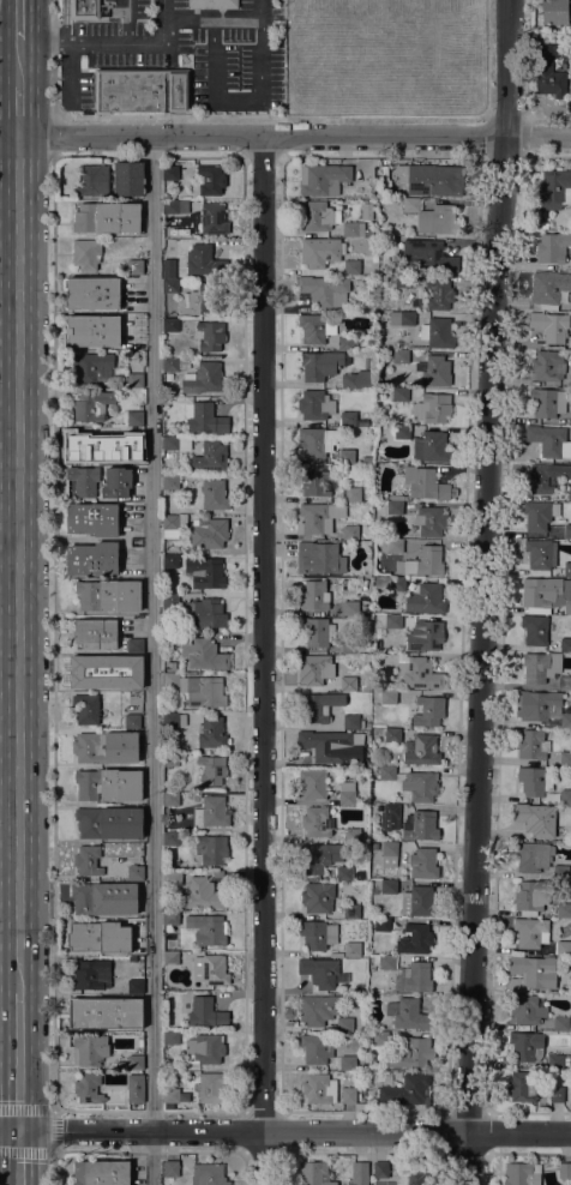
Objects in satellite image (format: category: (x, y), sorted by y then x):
building: (212, 4)
building: (83, 10)
building: (570, 10)
building: (554, 11)
road: (18, 20)
road: (65, 20)
road: (127, 22)
road: (110, 42)
road: (17, 64)
building: (548, 71)
building: (140, 88)
road: (264, 89)
road: (17, 110)
road: (121, 115)
road: (451, 115)
road: (53, 134)
road: (294, 136)
building: (381, 163)
building: (176, 173)
building: (128, 179)
building: (323, 179)
building: (431, 179)
building: (91, 180)
building: (210, 180)
building: (554, 190)
building: (175, 207)
building: (317, 216)
building: (107, 217)
building: (431, 217)
building: (212, 218)
building: (543, 225)
building: (353, 229)
building: (368, 233)
building: (552, 247)
building: (320, 251)
building: (85, 253)
building: (427, 254)
building: (204, 261)
building: (134, 266)
building: (351, 267)
building: (168, 271)
building: (402, 279)
building: (169, 285)
building: (324, 290)
building: (547, 290)
building: (92, 293)
building: (439, 294)
building: (200, 301)
building: (402, 319)
building: (170, 325)
building: (549, 325)
building: (315, 327)
building: (92, 331)
building: (437, 332)
building: (210, 336)
building: (345, 342)
building: (133, 354)
building: (401, 356)
building: (174, 365)
building: (320, 365)
building: (547, 366)
building: (96, 368)
building: (434, 371)
building: (168, 377)
building: (205, 379)
building: (357, 379)
building: (134, 380)
building: (399, 395)
building: (547, 402)
building: (314, 404)
building: (92, 405)
road: (8, 407)
building: (432, 408)
building: (134, 416)
building: (204, 417)
building: (348, 417)
building: (570, 417)
building: (402, 432)
building: (546, 439)
building: (315, 441)
building: (94, 443)
building: (170, 443)
building: (185, 444)
building: (431, 446)
building: (134, 456)
building: (210, 457)
building: (345, 457)
building: (545, 476)
building: (83, 480)
building: (317, 481)
building: (116, 482)
building: (170, 482)
building: (422, 485)
building: (351, 493)
building: (569, 493)
building: (214, 495)
building: (393, 507)
building: (539, 515)
building: (317, 518)
building: (92, 519)
building: (429, 521)
building: (173, 525)
building: (567, 531)
building: (208, 533)
building: (350, 533)
building: (395, 546)
road: (8, 551)
building: (539, 554)
building: (319, 558)
building: (92, 559)
building: (170, 561)
building: (422, 563)
road: (17, 565)
building: (567, 569)
road: (8, 571)
building: (204, 572)
building: (390, 583)
road: (482, 591)
building: (546, 592)
building: (109, 595)
building: (314, 595)
building: (425, 598)
building: (170, 601)
building: (350, 608)
building: (204, 614)
building: (392, 621)
building: (534, 630)
road: (54, 632)
road: (151, 632)
building: (317, 632)
building: (95, 633)
building: (425, 636)
building: (377, 643)
building: (134, 645)
building: (349, 645)
building: (565, 645)
building: (200, 651)
road: (263, 660)
building: (170, 666)
building: (540, 667)
building: (312, 669)
building: (95, 670)
building: (417, 673)
building: (564, 682)
building: (134, 684)
building: (348, 684)
building: (198, 690)
building: (387, 697)
building: (318, 706)
building: (542, 708)
building: (86, 709)
building: (428, 711)
building: (174, 720)
building: (132, 721)
building: (351, 722)
building: (211, 733)
building: (392, 735)
building: (531, 745)
building: (326, 746)
building: (92, 748)
building: (421, 751)
building: (134, 758)
building: (170, 759)
building: (565, 759)
building: (211, 770)
building: (386, 772)
building: (534, 781)
building: (108, 784)
building: (312, 784)
building: (421, 786)
road: (8, 788)
building: (345, 794)
building: (565, 796)
building: (170, 799)
building: (391, 811)
building: (211, 812)
building: (536, 820)
building: (108, 822)
building: (315, 822)
building: (420, 825)
building: (351, 835)
building: (170, 838)
building: (374, 846)
building: (214, 849)
building: (389, 854)
building: (318, 856)
building: (533, 856)
building: (88, 860)
building: (422, 864)
road: (8, 871)
building: (134, 872)
building: (560, 872)
building: (343, 873)
building: (172, 878)
building: (389, 886)
building: (203, 894)
building: (533, 896)
building: (317, 897)
building: (104, 898)
building: (419, 902)
building: (564, 909)
building: (353, 912)
building: (170, 919)
building: (381, 925)
building: (206, 930)
building: (530, 932)
building: (317, 934)
building: (100, 937)
building: (414, 939)
building: (563, 948)
building: (355, 949)
building: (170, 957)
building: (386, 962)
building: (210, 969)
building: (530, 972)
building: (320, 973)
building: (91, 976)
building: (413, 978)
building: (134, 986)
building: (317, 1010)
building: (527, 1010)
building: (104, 1013)
building: (205, 1013)
building: (408, 1015)
building: (344, 1024)
building: (560, 1024)
building: (170, 1037)
building: (525, 1046)
building: (205, 1048)
building: (315, 1048)
building: (89, 1049)
building: (404, 1049)
road: (18, 1061)
building: (134, 1061)
building: (555, 1061)
building: (347, 1063)
building: (522, 1085)
building: (211, 1087)
building: (89, 1088)
building: (134, 1088)
building: (319, 1089)
building: (407, 1090)
building: (555, 1094)
building: (170, 1095)
building: (348, 1095)
road: (103, 1111)
road: (198, 1111)
road: (10, 1130)
traffic signals: (19, 1130)
road: (53, 1130)
road: (246, 1131)
road: (294, 1131)
road: (149, 1151)
road: (19, 1157)
road: (150, 1157)
road: (53, 1168)
building: (170, 1168)
building: (380, 1169)
building: (565, 1169)
building: (100, 1173)
building: (313, 1173)
building: (360, 1173)
building: (522, 1173)
building: (208, 1174)
building: (410, 1177)

